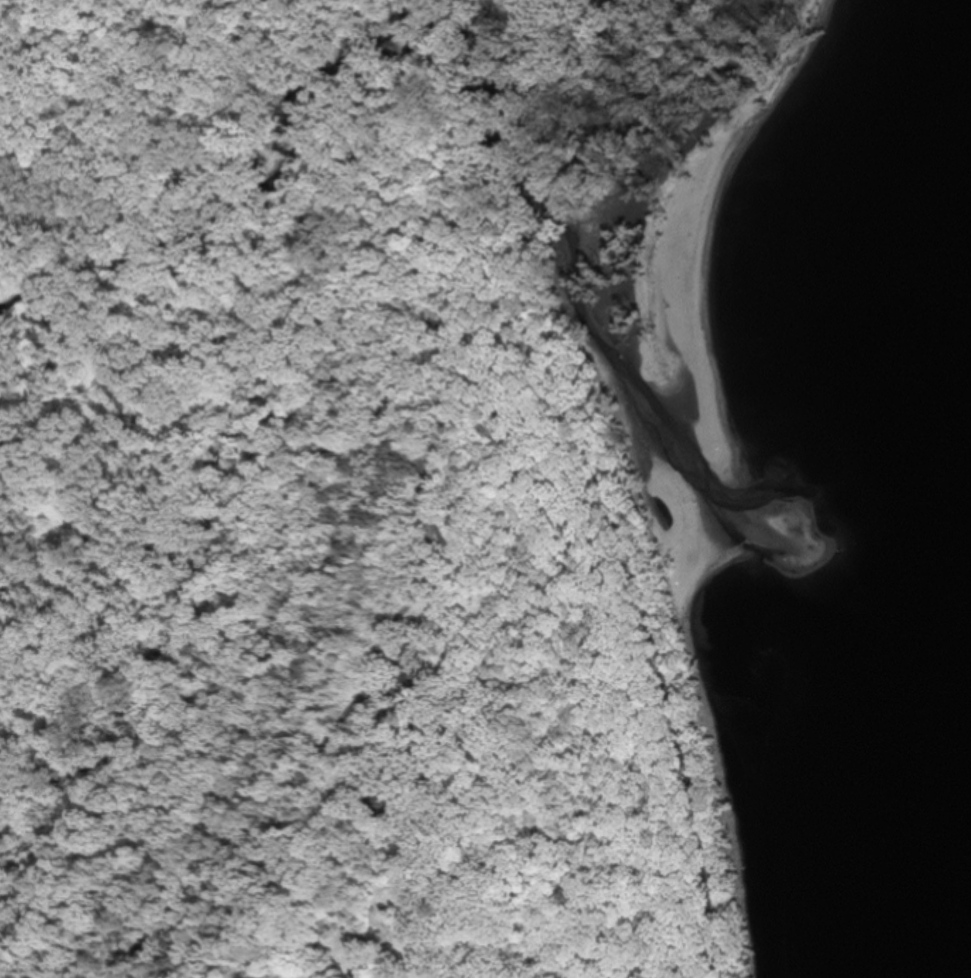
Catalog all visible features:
road: (395, 2)
road: (405, 44)
road: (435, 144)
road: (339, 168)
park: (373, 484)
road: (428, 491)
road: (638, 574)
road: (416, 578)
road: (139, 893)
road: (117, 968)

